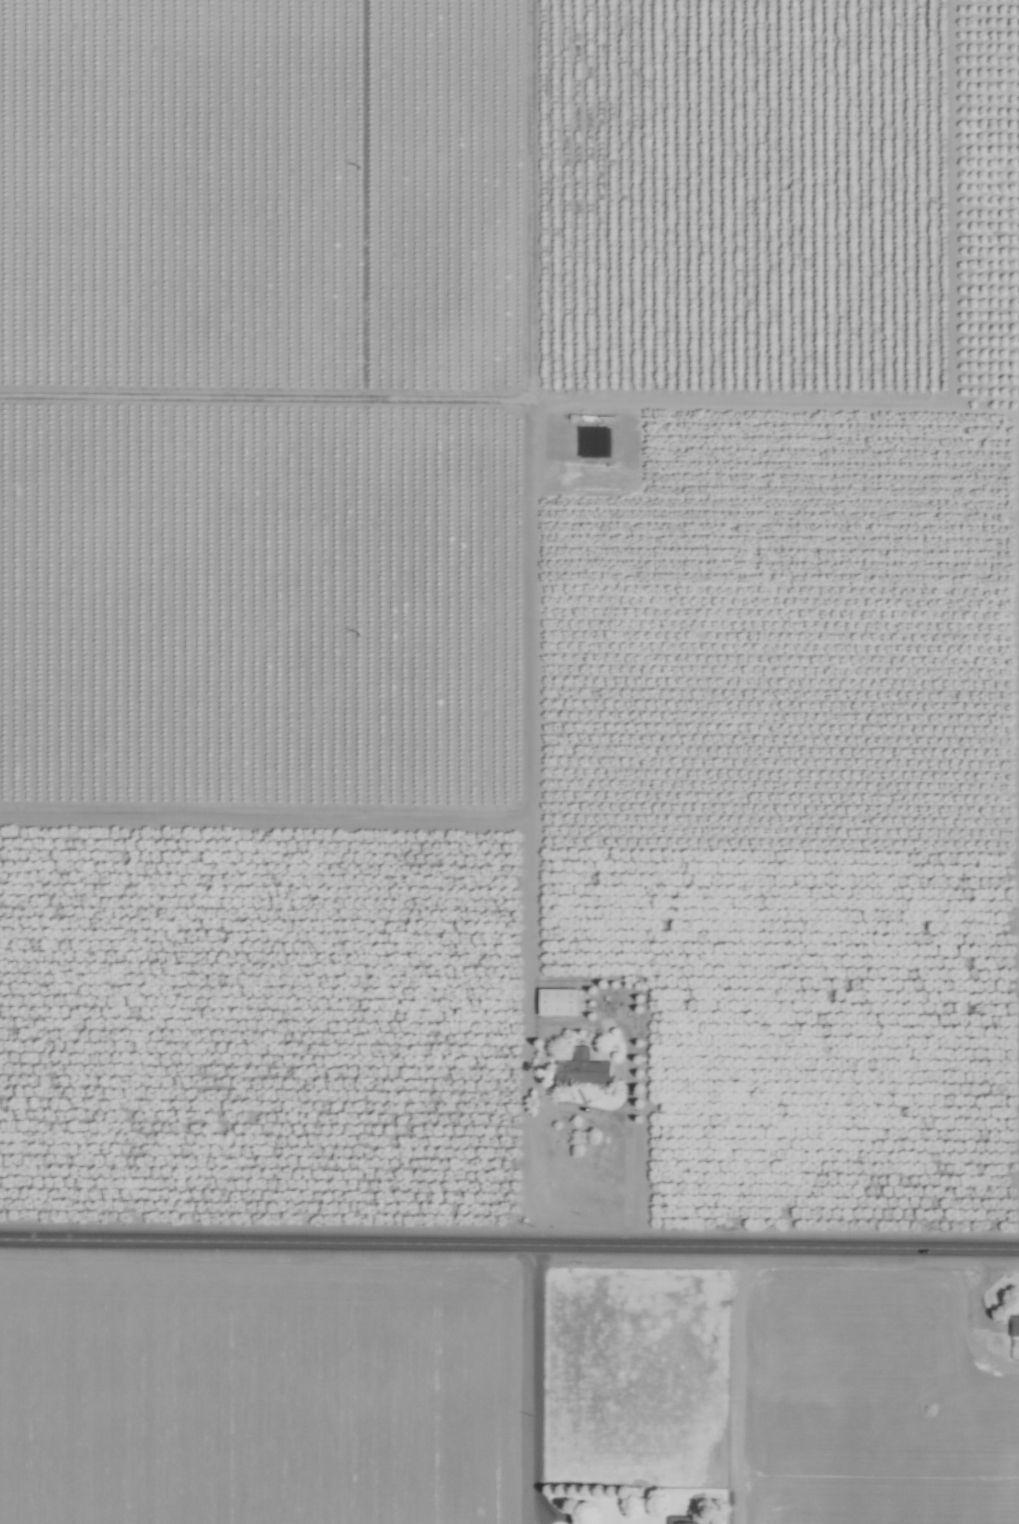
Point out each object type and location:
crop: (509, 762)
building: (560, 1000)
building: (586, 1068)
road: (576, 1111)
road: (509, 1245)
road: (974, 1301)
building: (1012, 1326)
road: (893, 1369)
road: (536, 1383)
road: (745, 1385)
road: (554, 1515)
building: (682, 1520)

